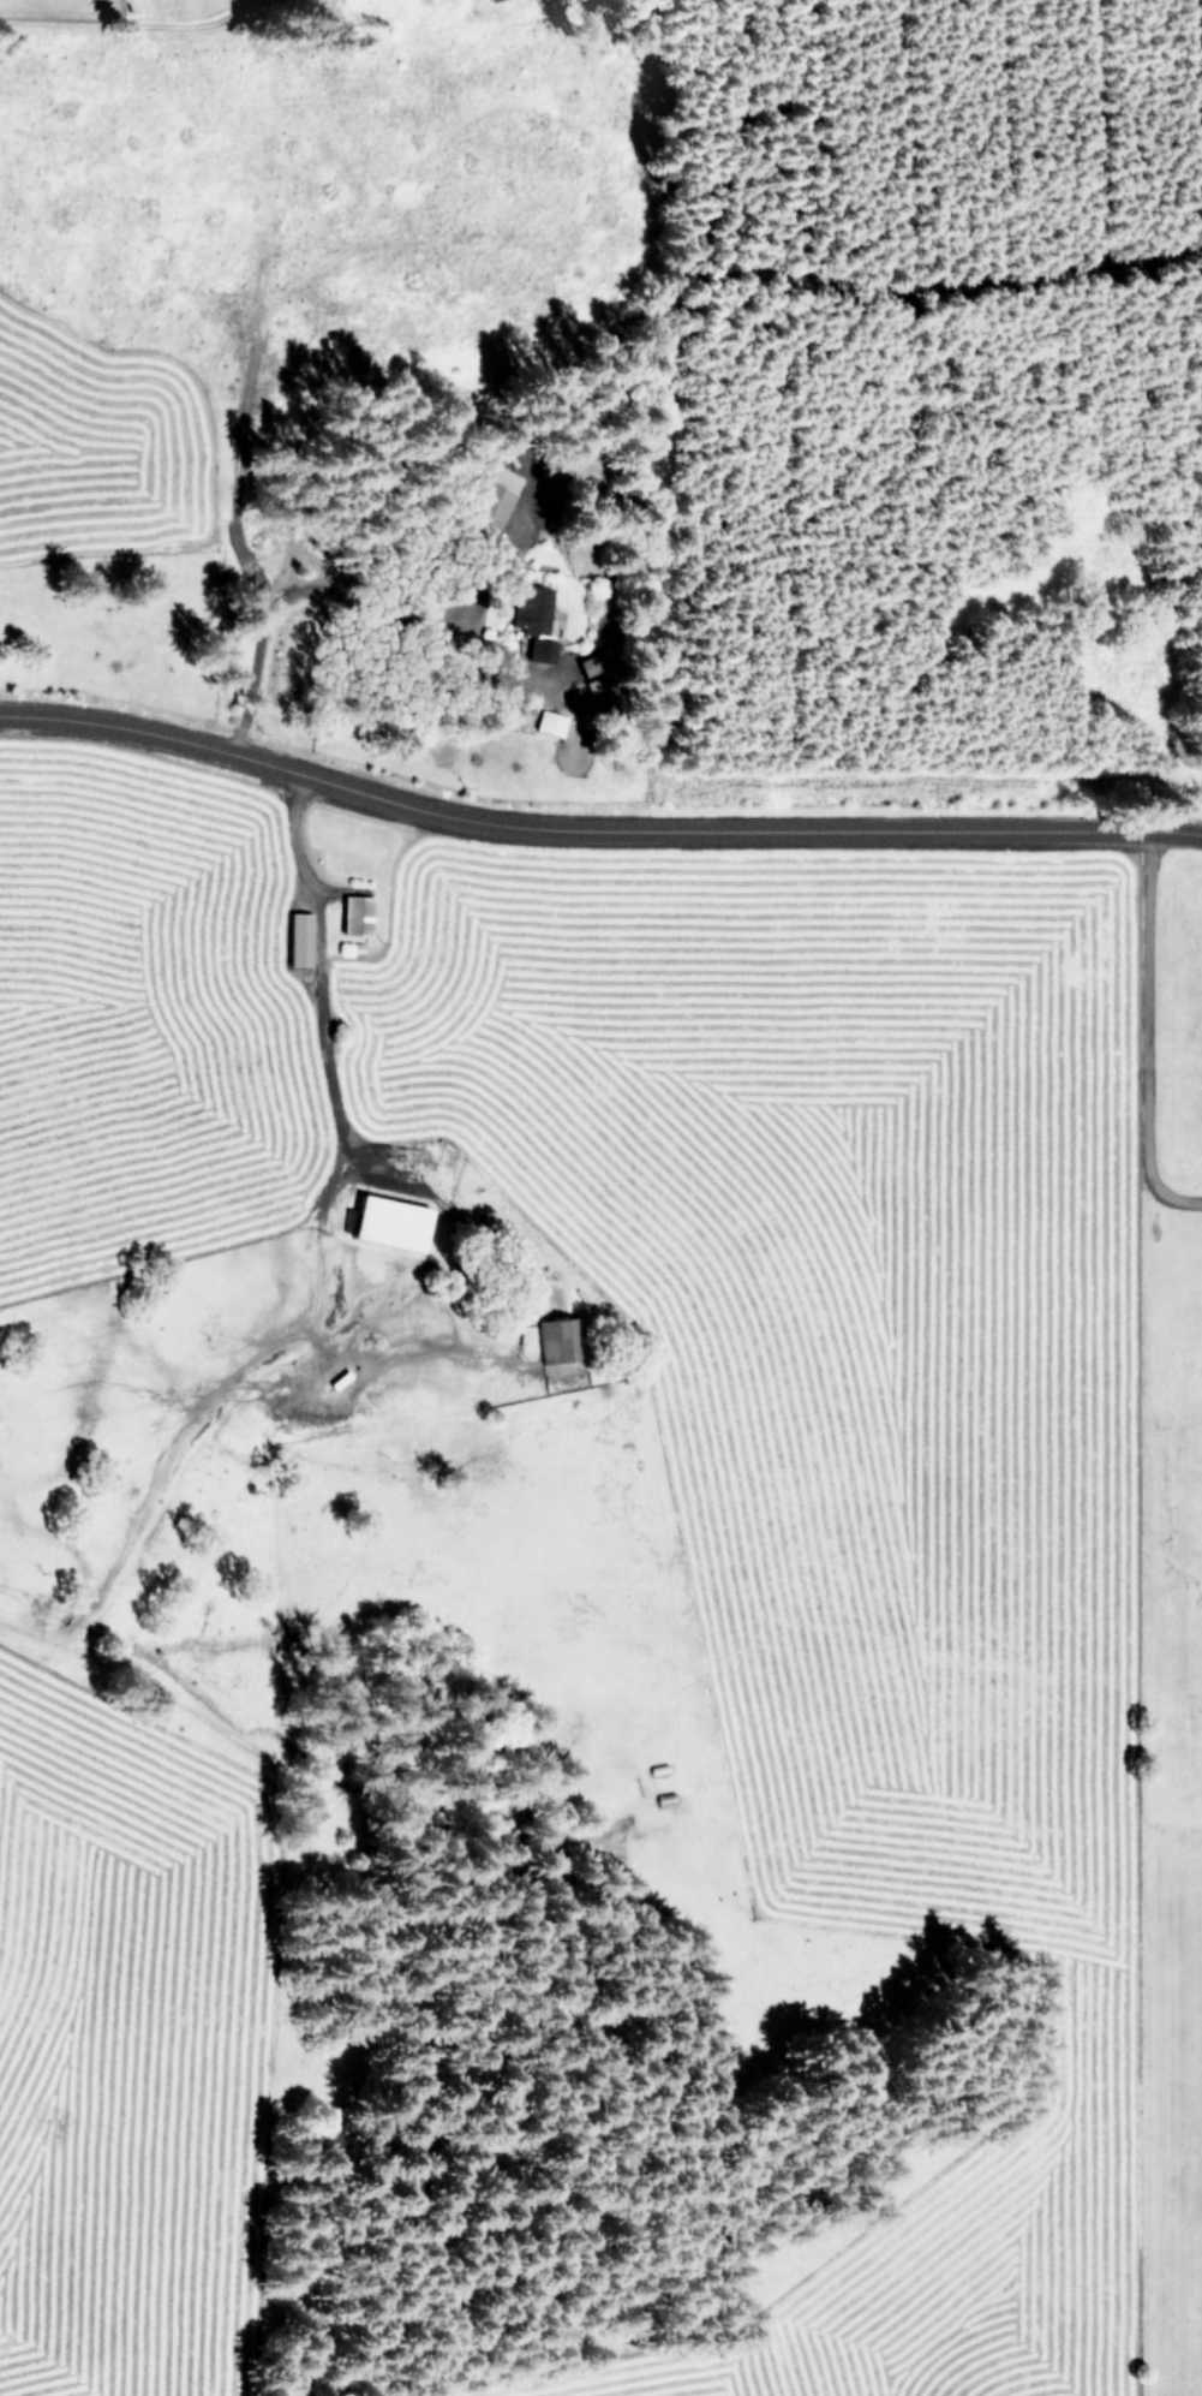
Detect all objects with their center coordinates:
road: (61, 2)
building: (536, 621)
building: (550, 722)
road: (593, 834)
building: (357, 914)
building: (299, 938)
road: (1152, 1036)
road: (301, 1098)
building: (389, 1221)
building: (551, 1339)
road: (187, 1429)
crop: (596, 1631)

